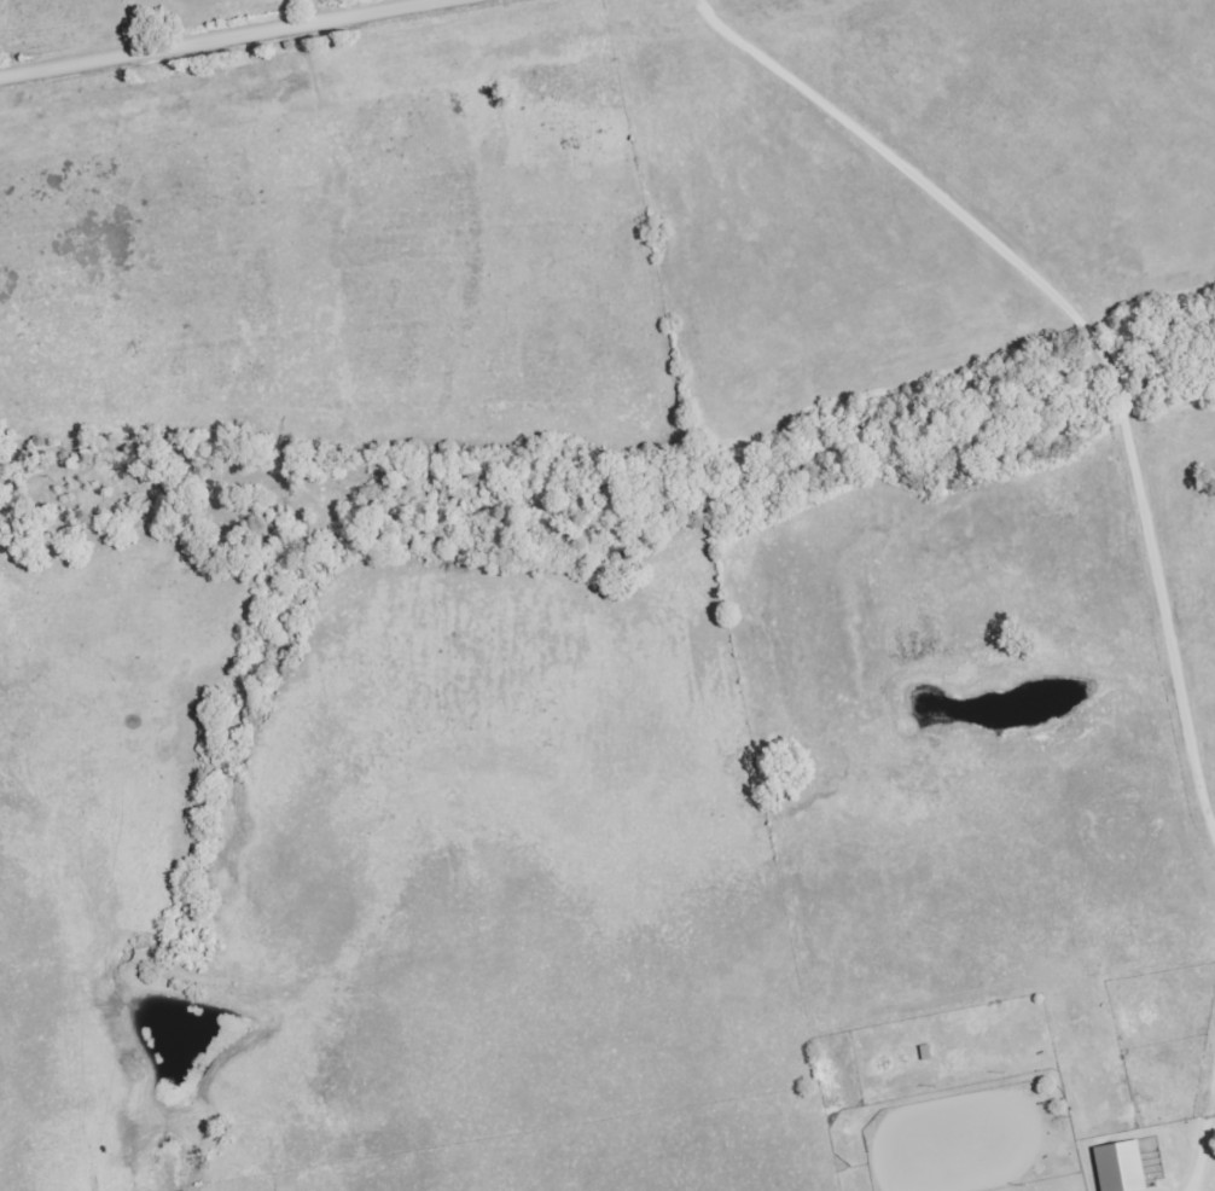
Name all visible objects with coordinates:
road: (130, 28)
road: (220, 39)
road: (1091, 332)
road: (1207, 1144)
building: (1118, 1166)

